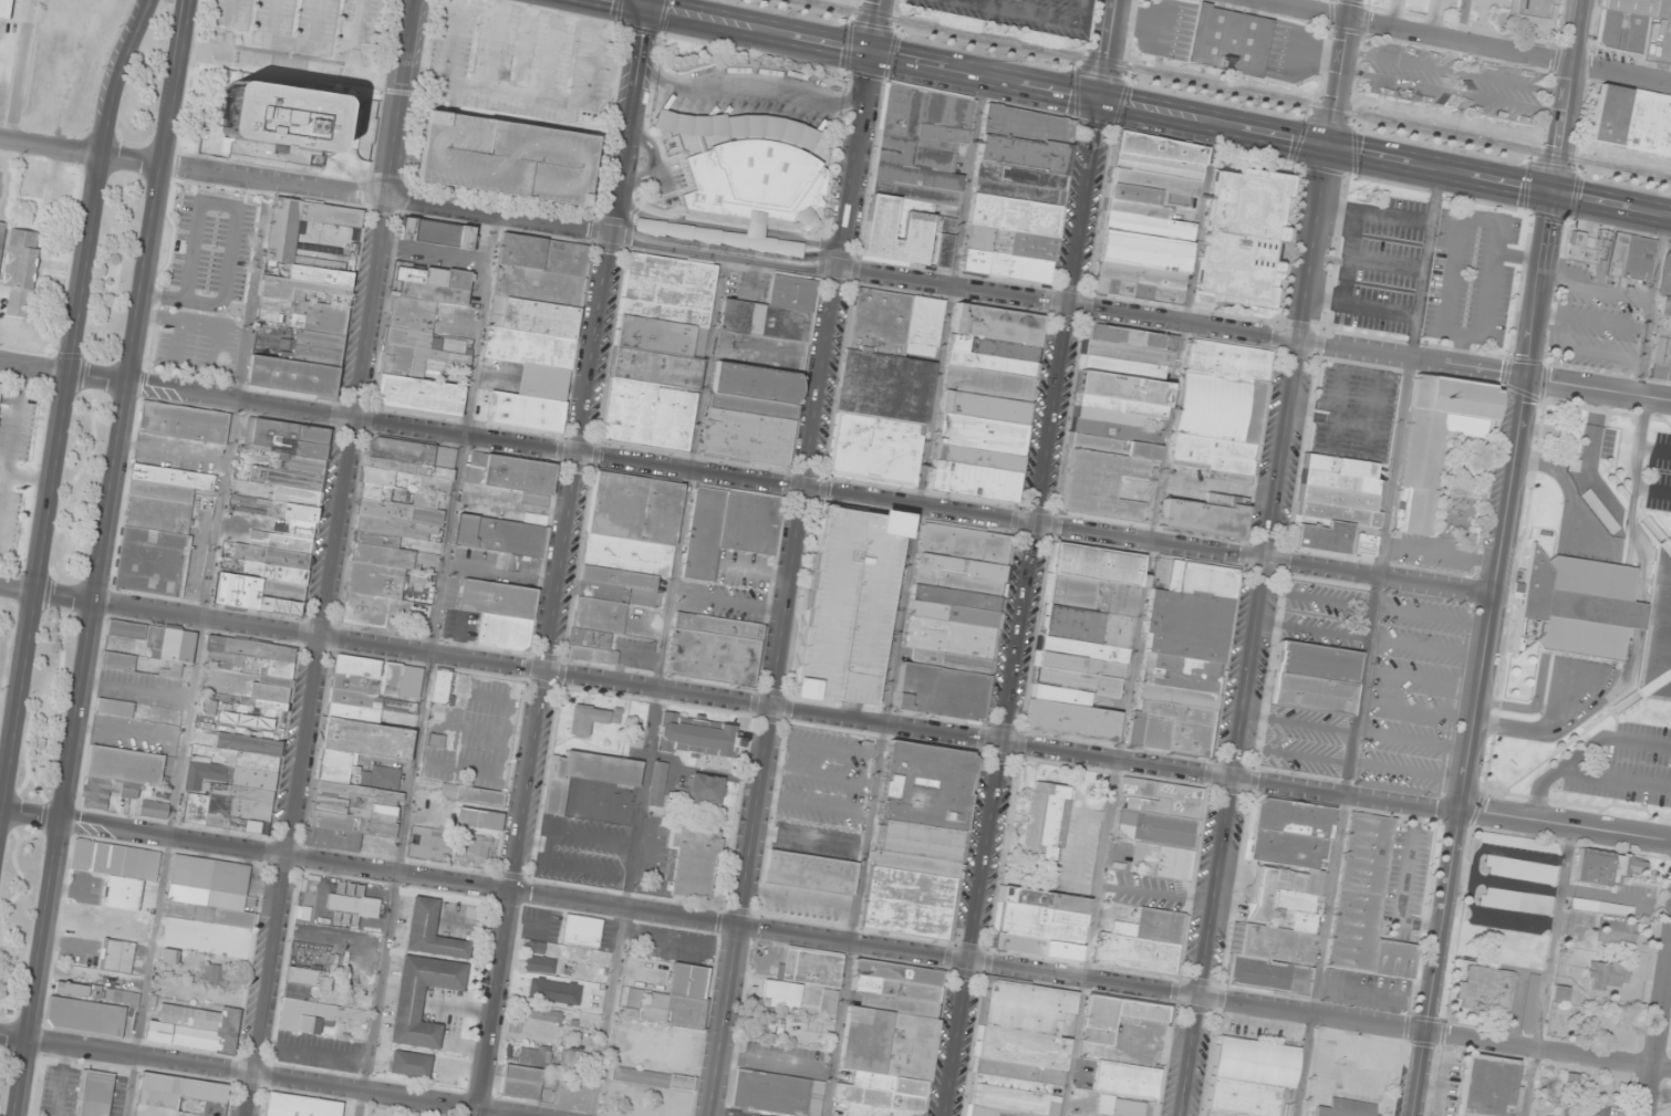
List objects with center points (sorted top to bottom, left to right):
road: (629, 4)
road: (650, 4)
building: (6, 9)
traffic signals: (650, 9)
parking lot: (1428, 10)
building: (1530, 10)
road: (1393, 13)
road: (1431, 18)
road: (1460, 20)
building: (1623, 24)
road: (874, 25)
road: (228, 28)
road: (762, 31)
road: (357, 38)
building: (1229, 40)
road: (1460, 41)
road: (294, 42)
road: (1104, 49)
traffic signals: (875, 53)
railway: (10, 64)
road: (286, 64)
road: (1459, 73)
road: (1340, 74)
road: (986, 75)
parking lot: (1455, 81)
railway: (1236, 88)
road: (1455, 94)
road: (1573, 97)
traffic signals: (1098, 98)
building: (1631, 121)
building: (280, 122)
road: (632, 122)
traffic signals: (1328, 149)
road: (76, 152)
building: (505, 156)
parking garage: (505, 156)
road: (403, 160)
road: (1383, 160)
road: (859, 161)
building: (750, 166)
building: (916, 176)
building: (1016, 194)
road: (385, 195)
traffic signals: (1558, 195)
road: (1082, 201)
building: (1149, 218)
building: (1, 229)
building: (434, 233)
building: (1245, 236)
building: (788, 248)
building: (1585, 249)
road: (728, 252)
building: (541, 254)
building: (1633, 255)
building: (20, 271)
building: (432, 283)
building: (536, 285)
road: (954, 288)
building: (664, 289)
building: (789, 291)
building: (291, 299)
building: (408, 312)
building: (531, 316)
building: (762, 320)
building: (876, 321)
building: (922, 321)
building: (995, 323)
building: (1662, 328)
building: (657, 335)
building: (1129, 336)
building: (409, 337)
road: (1298, 343)
building: (527, 347)
building: (990, 347)
building: (758, 351)
building: (1127, 352)
building: (416, 359)
building: (1224, 359)
building: (988, 363)
building: (652, 366)
building: (1121, 367)
road: (1361, 369)
road: (60, 374)
building: (540, 382)
building: (753, 382)
building: (985, 382)
building: (881, 385)
building: (0, 386)
building: (1121, 386)
road: (1600, 387)
road: (68, 388)
building: (416, 395)
building: (1118, 404)
building: (750, 405)
building: (1217, 405)
building: (982, 406)
building: (522, 411)
road: (1330, 411)
parking lot: (1355, 411)
building: (644, 416)
building: (1112, 416)
building: (184, 423)
building: (1115, 430)
building: (977, 432)
building: (745, 437)
building: (1435, 441)
building: (1112, 446)
building: (873, 448)
building: (974, 456)
building: (1212, 456)
building: (1339, 465)
parking lot: (1662, 470)
building: (517, 473)
building: (971, 480)
building: (1339, 480)
building: (1107, 486)
road: (808, 490)
building: (1338, 497)
building: (614, 504)
building: (657, 511)
building: (286, 513)
building: (1335, 514)
building: (1202, 517)
building: (748, 522)
building: (393, 525)
building: (157, 529)
building: (702, 533)
building: (499, 535)
building: (1321, 536)
building: (961, 543)
building: (1367, 544)
building: (623, 554)
road: (94, 557)
road: (326, 557)
building: (1094, 563)
building: (958, 566)
building: (1163, 574)
building: (614, 577)
building: (1204, 578)
building: (955, 582)
road: (44, 592)
building: (616, 593)
building: (1090, 594)
road: (902, 595)
building: (952, 597)
building: (495, 598)
road: (1315, 598)
building: (845, 603)
parking garage: (845, 603)
building: (951, 613)
building: (596, 614)
building: (1602, 614)
road: (1431, 616)
road: (1138, 619)
building: (1184, 623)
building: (716, 625)
building: (1084, 625)
road: (1311, 629)
building: (501, 632)
road: (1253, 633)
building: (946, 637)
building: (159, 643)
road: (1367, 644)
building: (589, 646)
road: (1426, 646)
road: (198, 647)
building: (1081, 648)
road: (1486, 655)
building: (712, 656)
building: (948, 660)
building: (1315, 660)
building: (117, 661)
building: (1079, 664)
road: (427, 665)
building: (1179, 672)
building: (276, 675)
road: (540, 675)
building: (390, 678)
road: (1422, 678)
building: (1075, 679)
building: (361, 684)
road: (657, 684)
building: (440, 687)
parking lot: (1372, 687)
building: (938, 690)
road: (776, 692)
building: (1309, 692)
building: (1057, 693)
building: (1175, 696)
road: (775, 707)
building: (114, 708)
road: (1418, 708)
road: (1005, 710)
road: (855, 711)
building: (1176, 711)
building: (592, 718)
building: (1068, 719)
road: (1296, 722)
building: (1133, 728)
building: (1154, 731)
building: (697, 736)
building: (1187, 738)
building: (436, 740)
road: (1412, 740)
parking lot: (1569, 748)
road: (1291, 754)
road: (1408, 770)
building: (117, 773)
building: (585, 775)
building: (356, 782)
building: (657, 784)
building: (235, 785)
building: (702, 792)
building: (474, 795)
building: (154, 810)
road: (28, 813)
building: (478, 820)
building: (1045, 822)
building: (1160, 826)
road: (1566, 828)
building: (918, 839)
building: (1518, 842)
building: (471, 847)
building: (115, 861)
building: (695, 862)
building: (1606, 867)
building: (1519, 869)
building: (810, 872)
building: (209, 875)
building: (1487, 897)
building: (1281, 898)
building: (1523, 901)
building: (1367, 903)
building: (1601, 908)
building: (1037, 919)
road: (741, 928)
building: (226, 929)
building: (430, 931)
building: (581, 931)
building: (1616, 932)
building: (1143, 943)
building: (115, 956)
building: (169, 956)
building: (538, 960)
building: (810, 967)
road: (1548, 972)
building: (214, 974)
building: (1608, 976)
building: (303, 982)
building: (1486, 991)
building: (96, 992)
building: (780, 994)
building: (421, 998)
building: (678, 999)
building: (631, 1002)
building: (1529, 1002)
building: (312, 1015)
building: (1117, 1015)
building: (85, 1016)
building: (767, 1025)
building: (194, 1028)
road: (11, 1035)
building: (890, 1041)
road: (1660, 1047)
building: (1018, 1050)
road: (1549, 1050)
building: (533, 1055)
building: (409, 1063)
building: (1252, 1076)
road: (281, 1077)
building: (653, 1078)
building: (520, 1082)
building: (1570, 1082)
building: (1487, 1086)
building: (1124, 1087)
building: (94, 1093)
building: (776, 1093)
building: (181, 1095)
building: (300, 1106)
building: (1347, 1108)
building: (1585, 1110)

